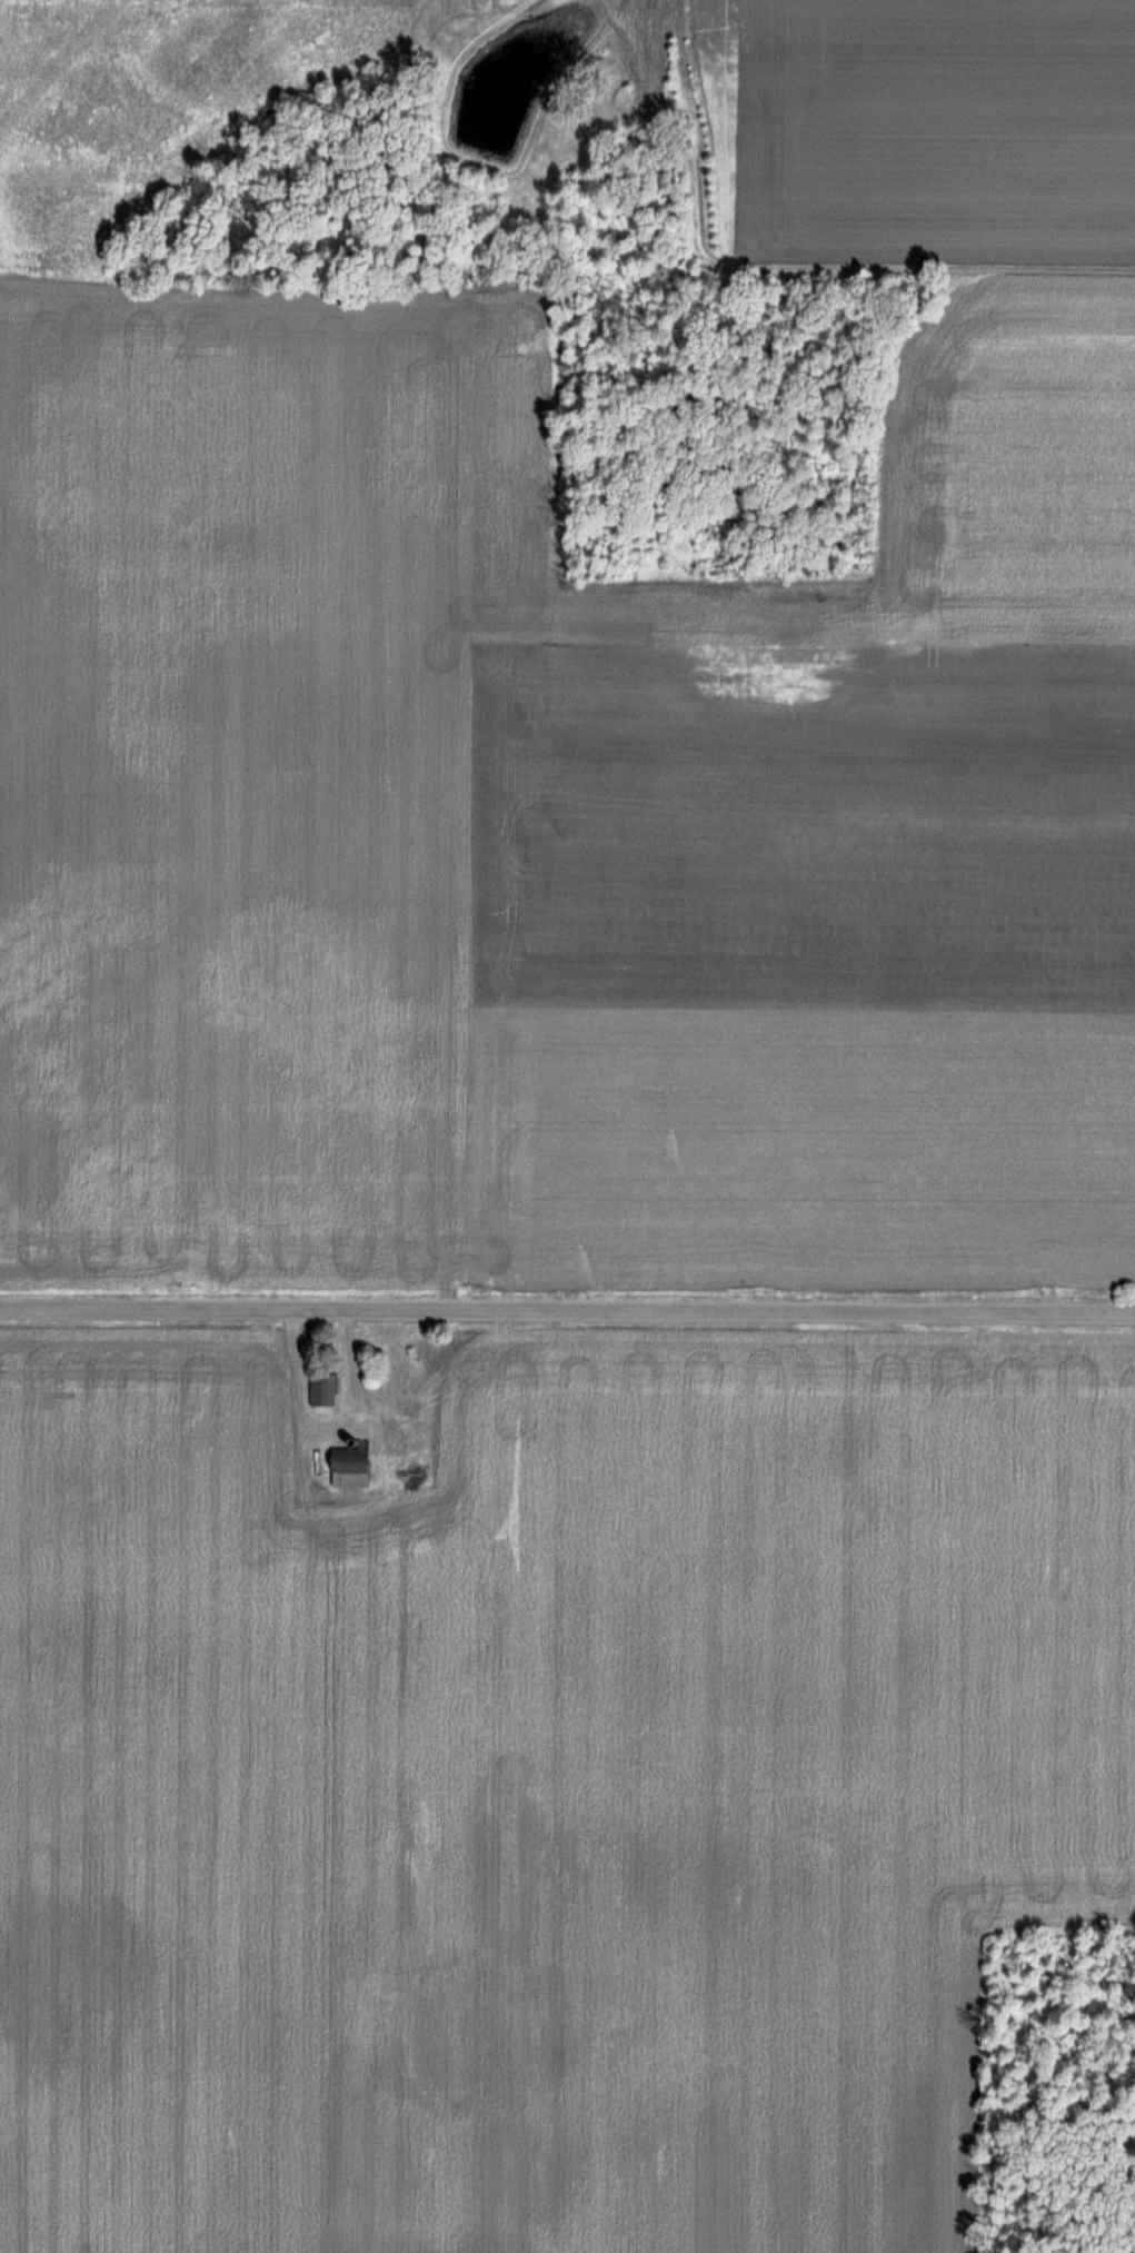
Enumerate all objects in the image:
road: (567, 1313)
building: (395, 1368)
building: (322, 1389)
building: (349, 1463)

